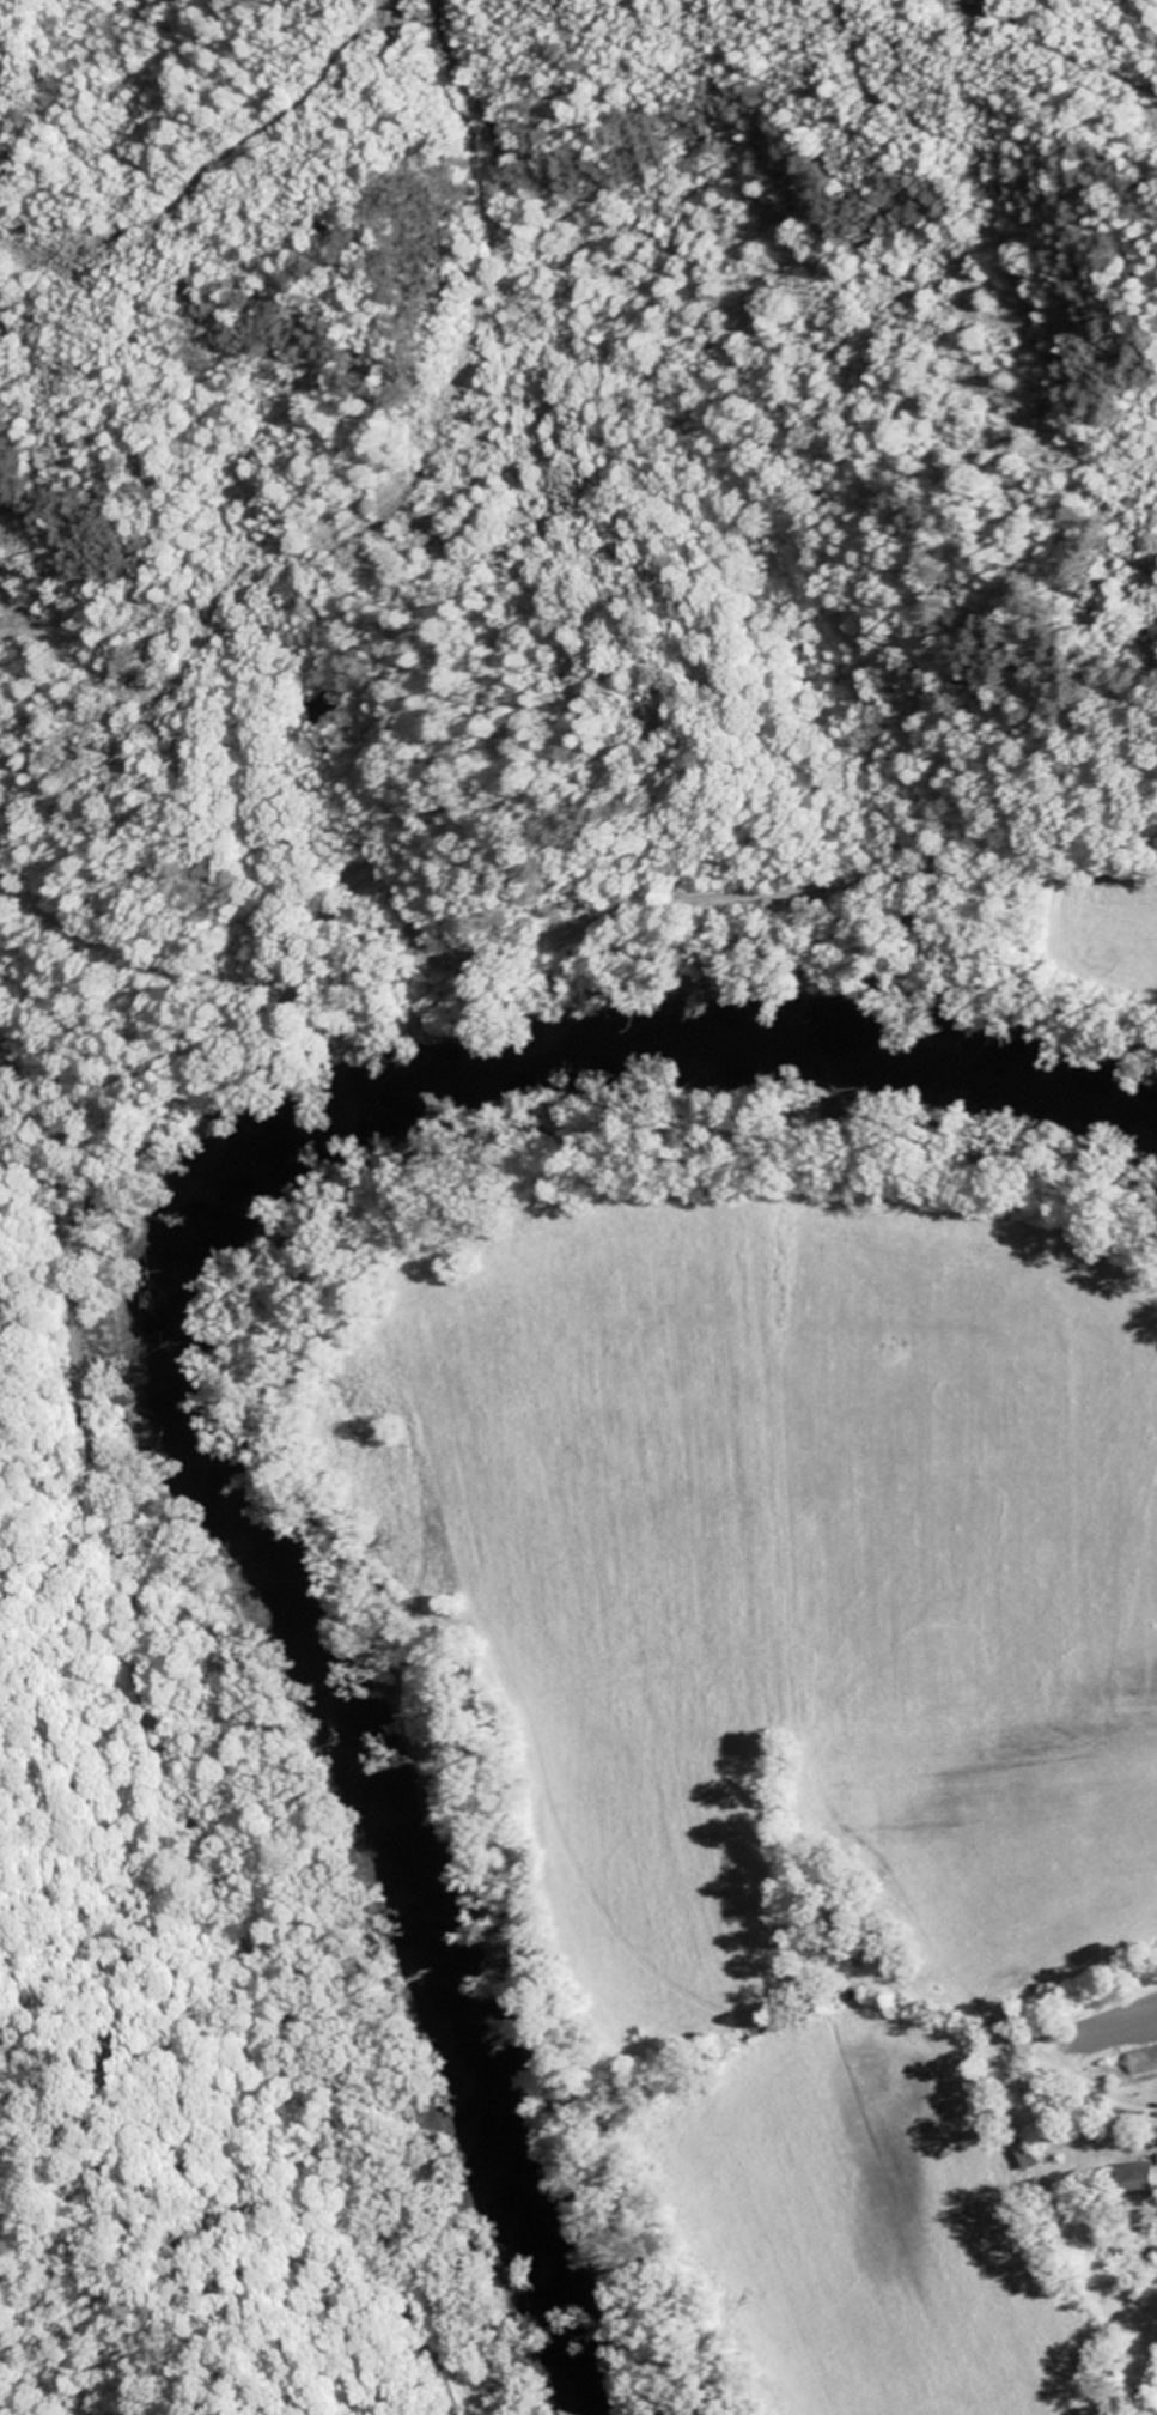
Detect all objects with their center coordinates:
road: (43, 1178)
river: (195, 1347)
building: (1144, 2059)
building: (1143, 2180)

